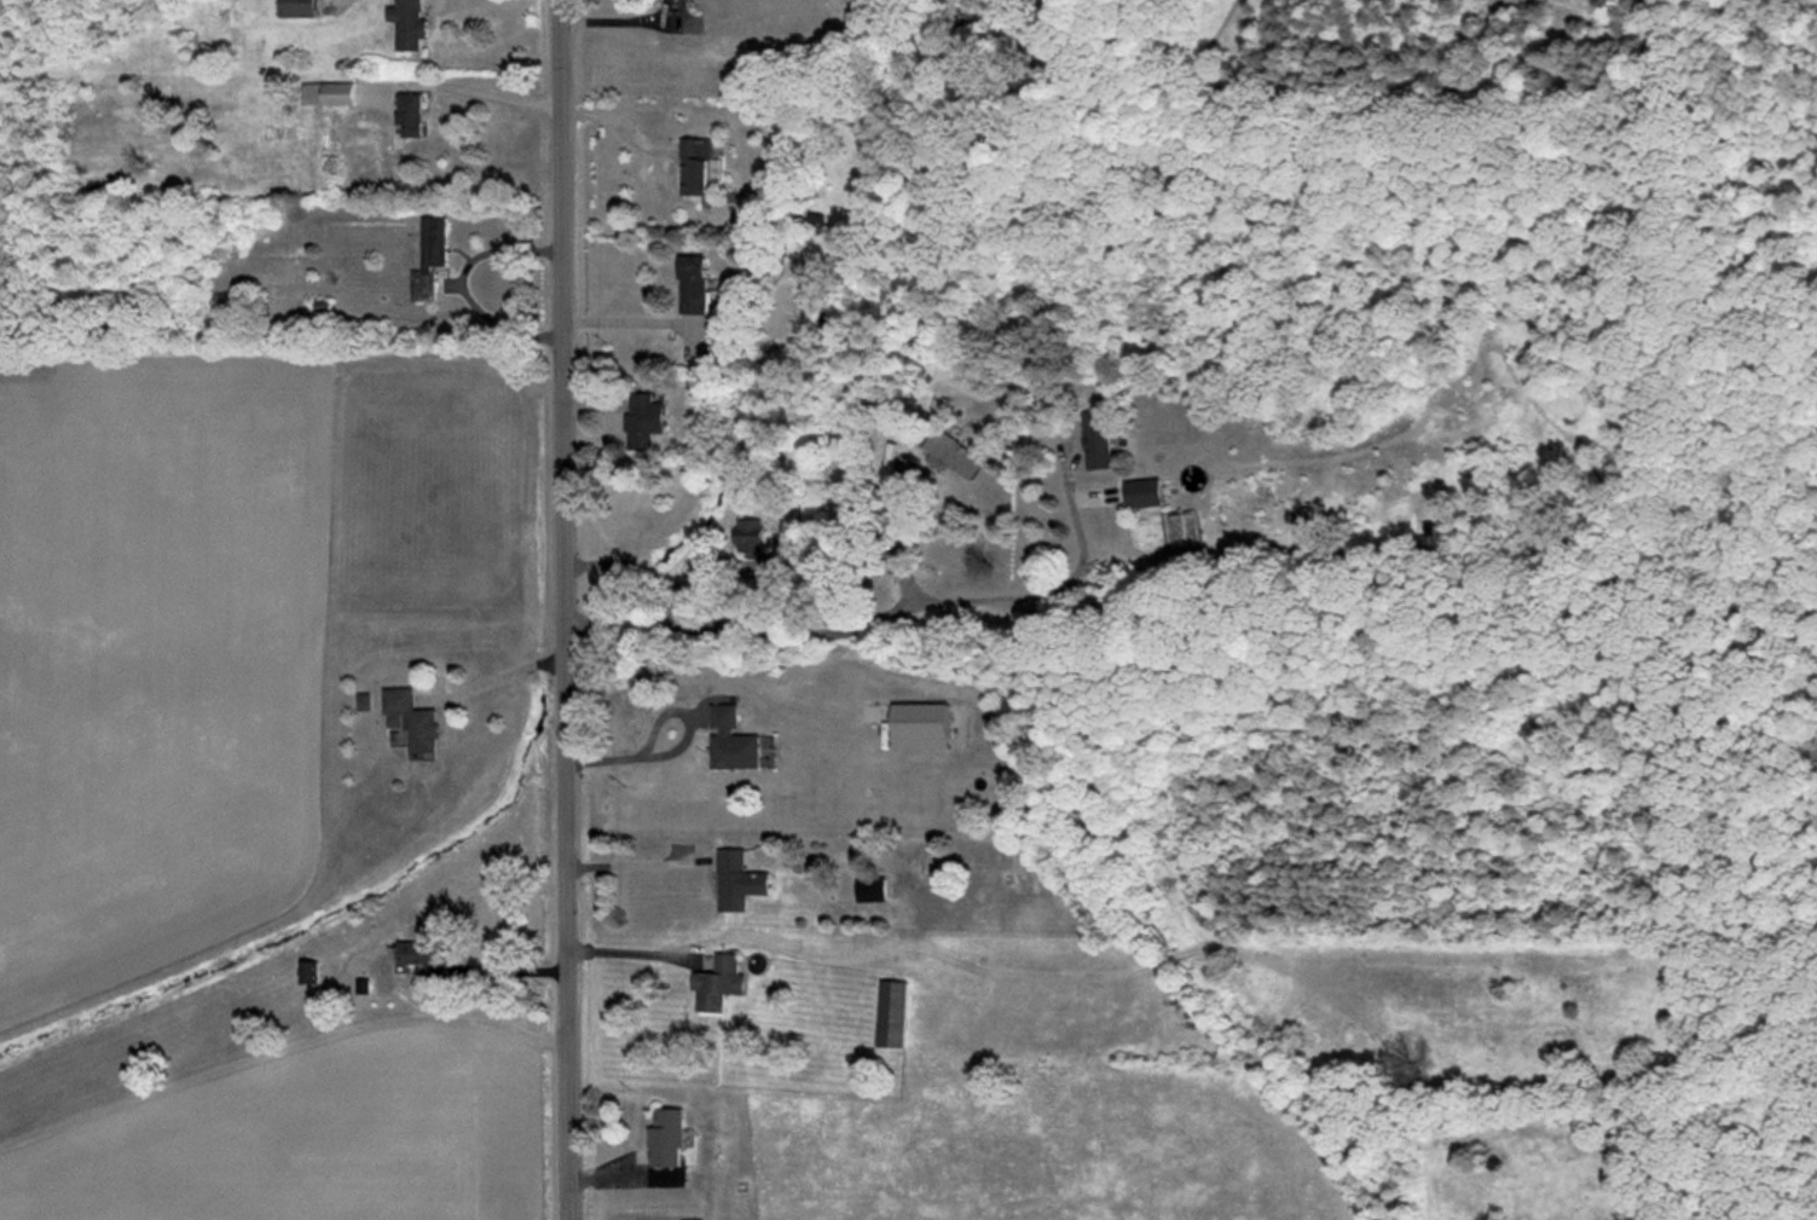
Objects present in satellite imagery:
road: (434, 0)
building: (297, 7)
building: (407, 24)
road: (461, 89)
building: (328, 93)
building: (409, 114)
building: (698, 166)
building: (429, 259)
building: (691, 284)
road: (461, 285)
road: (636, 324)
building: (643, 420)
building: (1098, 440)
building: (954, 455)
building: (1142, 492)
building: (757, 547)
road: (903, 555)
road: (641, 569)
road: (563, 609)
road: (880, 620)
road: (503, 675)
building: (363, 701)
building: (411, 721)
building: (922, 725)
building: (733, 740)
road: (679, 746)
road: (636, 863)
building: (739, 880)
building: (872, 889)
road: (737, 939)
building: (422, 947)
building: (309, 972)
building: (719, 983)
building: (892, 1013)
building: (667, 1138)

